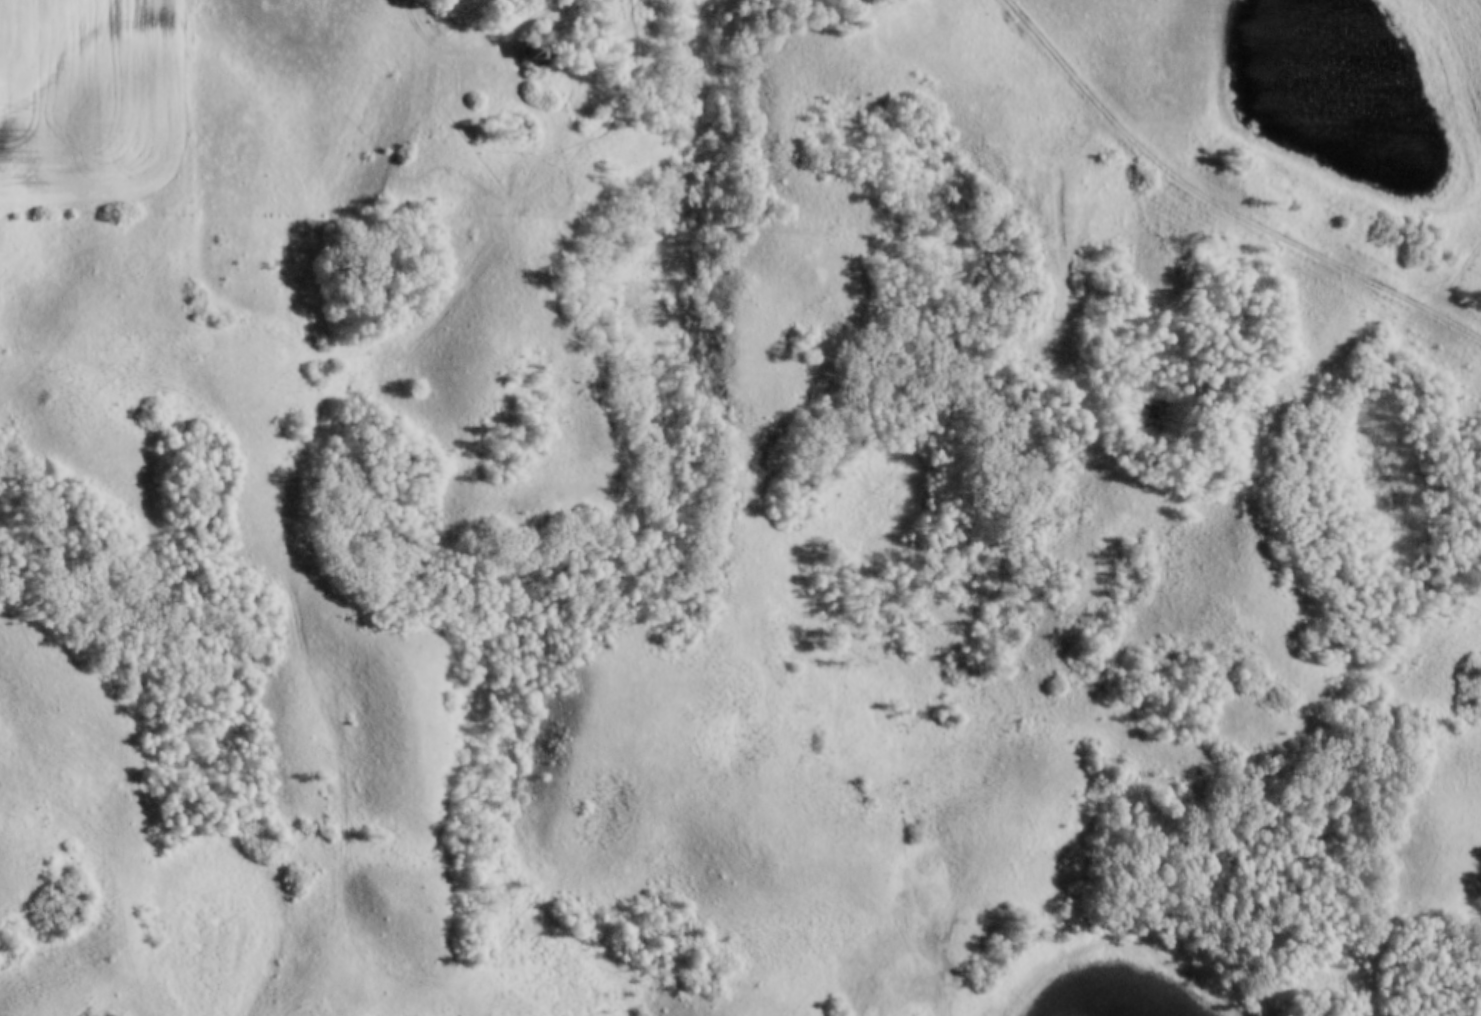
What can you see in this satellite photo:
road: (524, 16)
building: (541, 45)
road: (1223, 200)

